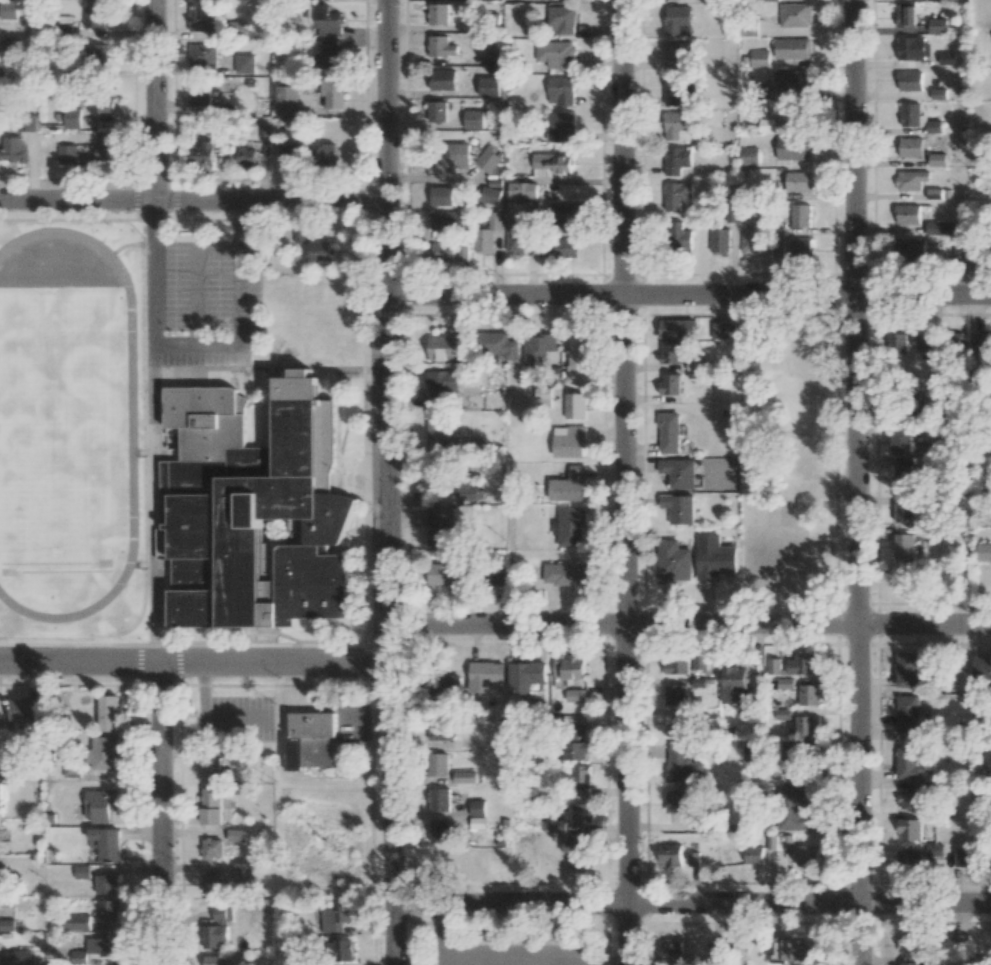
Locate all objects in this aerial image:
building: (8, 10)
building: (438, 14)
building: (795, 15)
building: (200, 16)
building: (93, 17)
building: (560, 20)
building: (678, 20)
building: (328, 21)
building: (490, 22)
building: (938, 25)
building: (441, 47)
building: (792, 48)
building: (912, 48)
building: (492, 54)
building: (556, 54)
building: (327, 55)
building: (677, 55)
building: (203, 56)
building: (94, 57)
building: (759, 58)
building: (946, 58)
building: (244, 65)
building: (441, 80)
building: (787, 80)
building: (910, 81)
building: (488, 87)
building: (561, 90)
building: (673, 90)
building: (200, 91)
building: (332, 94)
building: (100, 99)
road: (155, 100)
building: (285, 100)
building: (437, 112)
building: (911, 115)
building: (71, 118)
building: (473, 120)
building: (26, 122)
building: (766, 125)
building: (561, 126)
building: (677, 126)
building: (933, 126)
building: (104, 146)
road: (622, 147)
building: (909, 147)
road: (385, 148)
building: (792, 148)
building: (10, 149)
building: (201, 153)
building: (66, 155)
building: (286, 155)
building: (748, 155)
building: (324, 156)
building: (245, 157)
building: (451, 159)
building: (937, 159)
building: (677, 160)
building: (553, 162)
building: (911, 180)
building: (797, 181)
building: (523, 190)
building: (490, 195)
building: (676, 195)
building: (442, 196)
road: (192, 201)
building: (908, 214)
building: (800, 215)
building: (562, 217)
building: (446, 221)
building: (940, 228)
building: (486, 235)
building: (516, 236)
building: (680, 237)
building: (719, 240)
building: (750, 241)
building: (799, 247)
building: (556, 248)
building: (777, 248)
building: (909, 248)
building: (321, 250)
building: (449, 253)
building: (957, 253)
road: (505, 295)
road: (807, 295)
building: (677, 329)
building: (719, 330)
building: (922, 340)
building: (895, 341)
building: (980, 341)
road: (196, 343)
building: (497, 345)
building: (444, 347)
building: (538, 349)
building: (670, 353)
building: (578, 358)
building: (442, 382)
building: (670, 384)
building: (543, 397)
building: (434, 402)
building: (575, 406)
park: (60, 426)
building: (440, 427)
building: (669, 433)
building: (569, 441)
building: (901, 441)
building: (471, 447)
building: (801, 456)
building: (749, 467)
building: (679, 472)
building: (901, 473)
road: (854, 482)
building: (568, 485)
building: (467, 491)
building: (795, 503)
building: (678, 508)
building: (253, 511)
building: (902, 512)
building: (440, 527)
building: (570, 527)
building: (903, 546)
building: (984, 552)
building: (714, 558)
building: (673, 561)
building: (761, 562)
building: (565, 574)
building: (456, 575)
road: (690, 623)
road: (390, 630)
road: (625, 630)
building: (699, 661)
road: (195, 663)
building: (803, 664)
building: (677, 665)
building: (773, 666)
building: (569, 668)
building: (982, 668)
building: (907, 670)
building: (487, 673)
building: (525, 676)
building: (732, 685)
building: (444, 687)
building: (675, 694)
building: (574, 695)
building: (808, 695)
building: (22, 712)
building: (108, 714)
building: (782, 714)
building: (907, 714)
building: (52, 718)
building: (676, 725)
building: (806, 725)
building: (573, 728)
building: (442, 731)
building: (310, 741)
building: (574, 751)
building: (794, 752)
building: (103, 753)
building: (2, 763)
building: (912, 763)
building: (681, 764)
building: (437, 766)
building: (210, 768)
building: (71, 770)
building: (798, 775)
building: (463, 778)
building: (581, 779)
building: (0, 793)
building: (909, 798)
building: (438, 801)
building: (677, 801)
building: (99, 806)
building: (212, 806)
building: (797, 808)
building: (476, 809)
building: (580, 813)
road: (161, 814)
building: (909, 829)
building: (439, 832)
building: (236, 835)
building: (105, 845)
building: (211, 850)
building: (576, 850)
building: (934, 853)
building: (807, 854)
building: (670, 855)
building: (754, 855)
building: (963, 858)
building: (473, 859)
building: (693, 859)
building: (909, 859)
building: (444, 862)
building: (244, 874)
building: (211, 883)
building: (106, 886)
road: (691, 903)
building: (107, 911)
building: (336, 917)
building: (74, 924)
building: (6, 925)
building: (216, 931)
road: (443, 937)
building: (910, 944)
building: (102, 946)
building: (672, 946)
building: (801, 949)
building: (718, 951)
building: (336, 952)
parking lot: (510, 955)
building: (16, 957)
building: (78, 957)
building: (212, 960)
building: (911, 963)
road: (570, 964)

